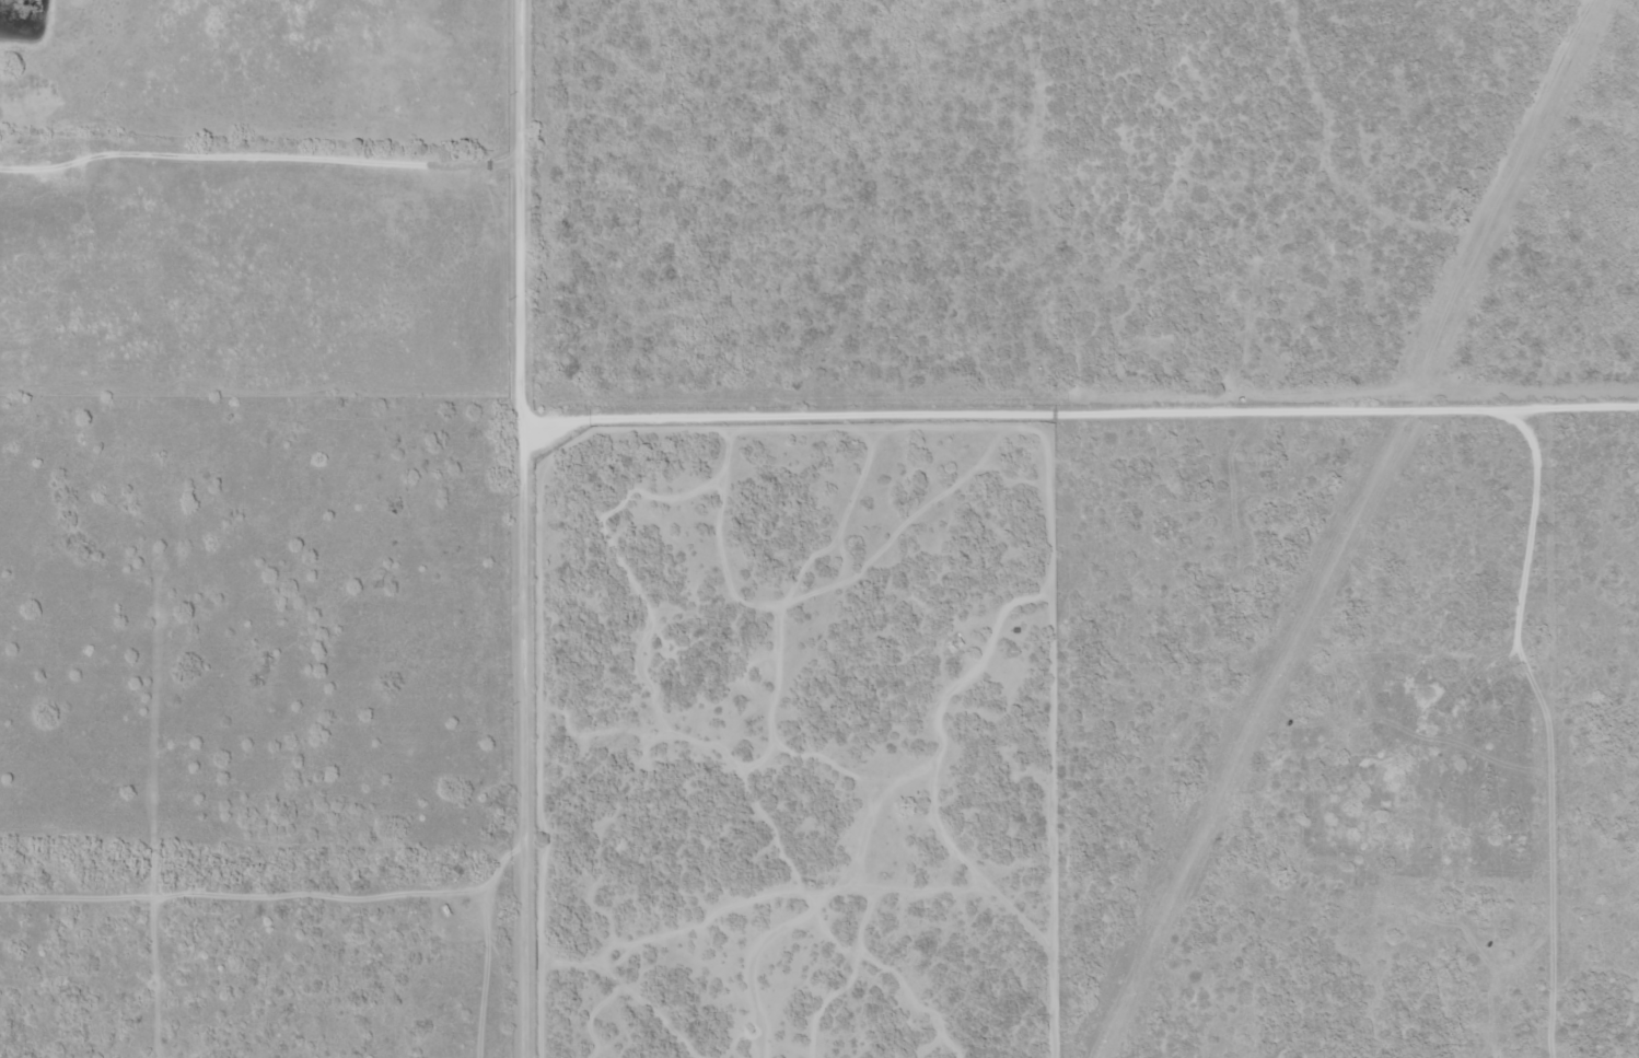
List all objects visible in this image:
road: (1082, 417)
road: (537, 526)
road: (1612, 641)
building: (955, 644)
road: (728, 815)

